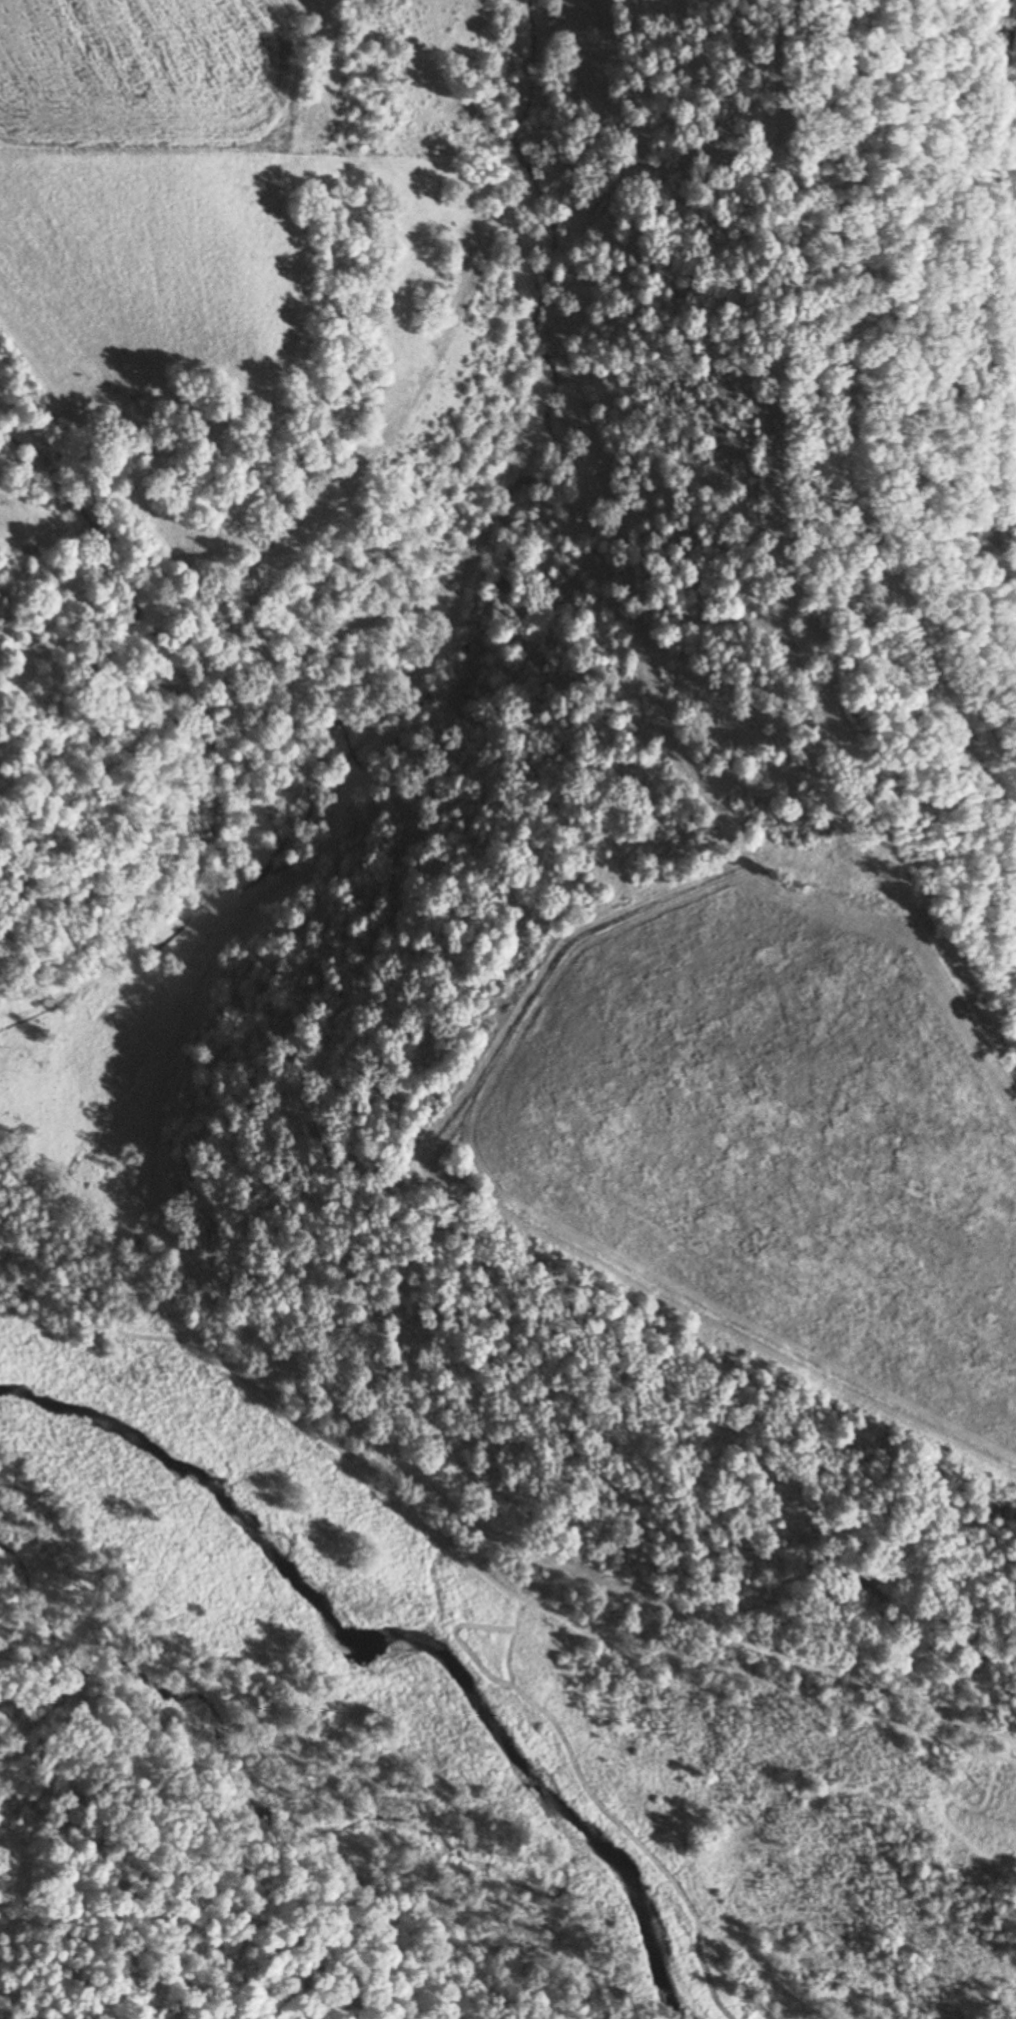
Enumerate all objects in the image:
road: (99, 1971)
road: (783, 1974)
road: (727, 1991)
road: (91, 2007)

